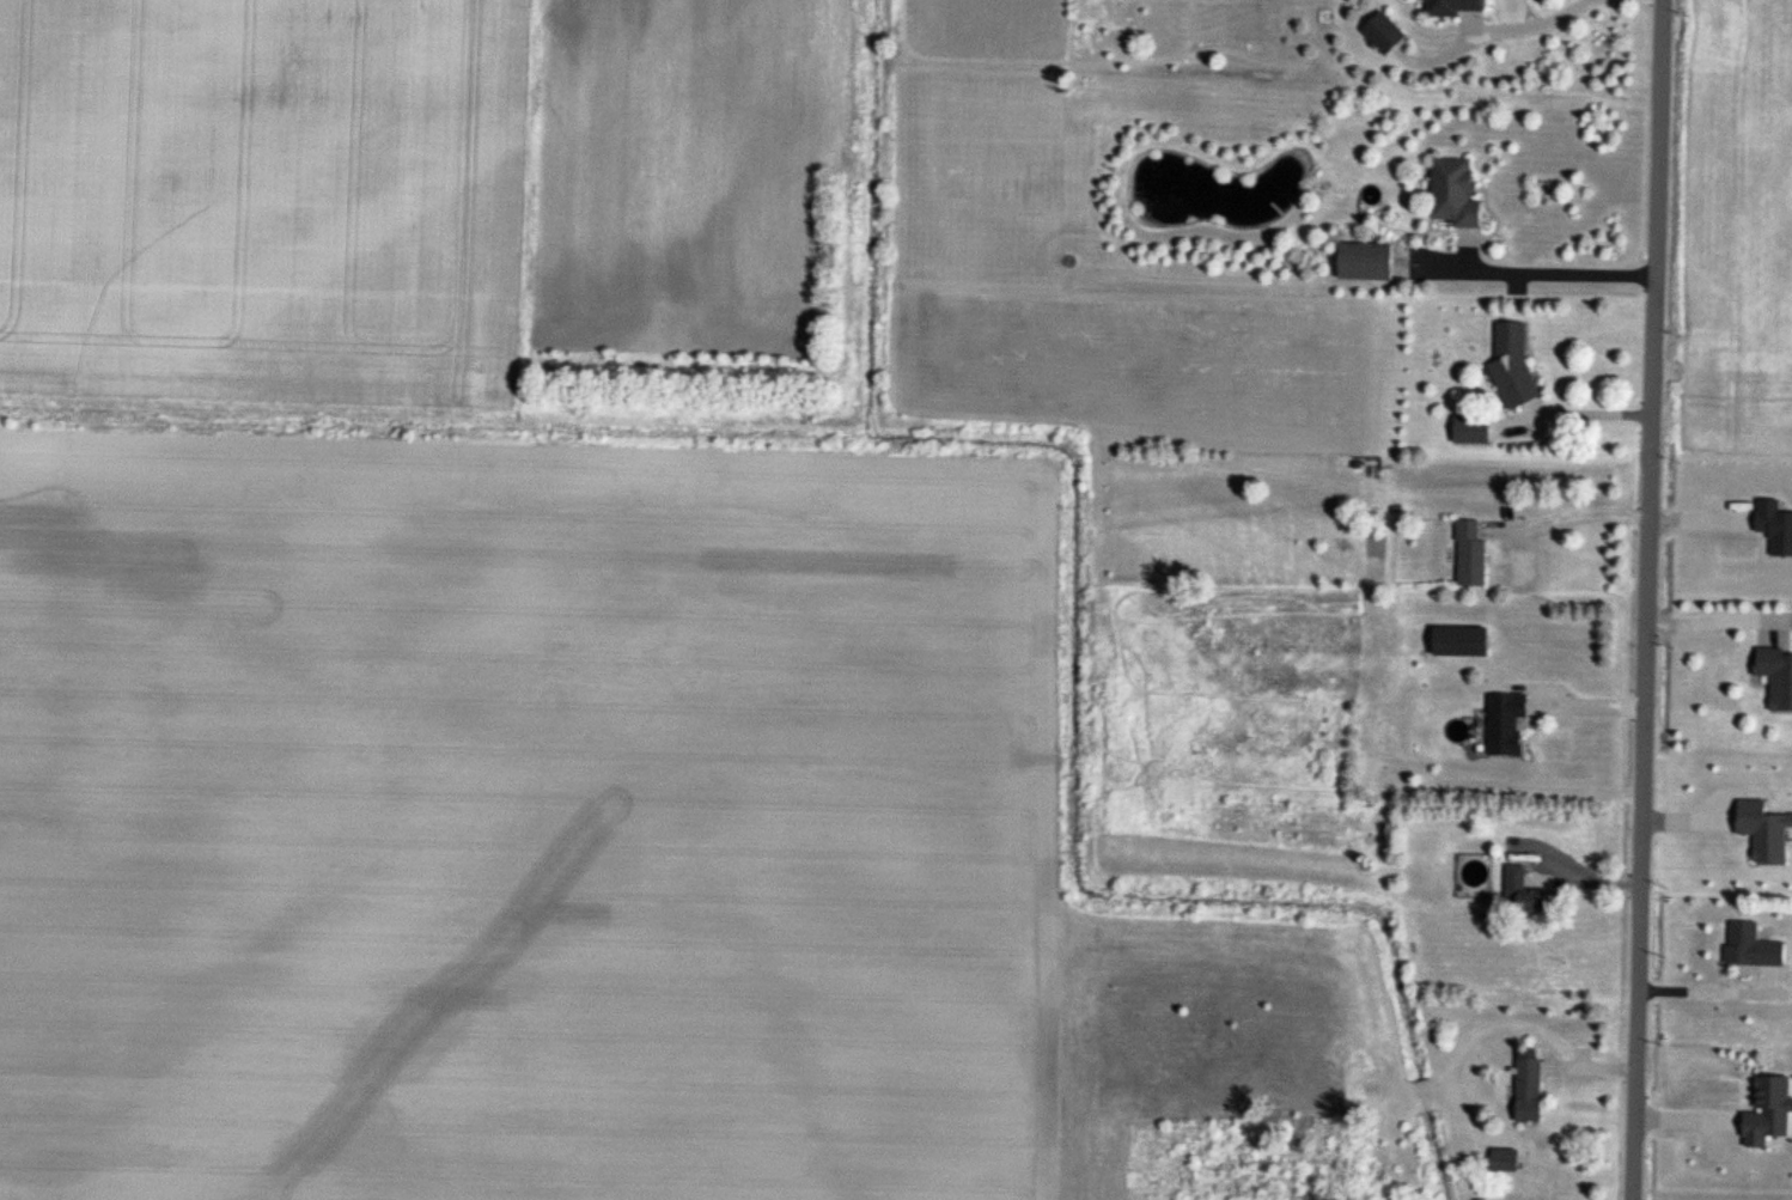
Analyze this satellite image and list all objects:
building: (1456, 7)
road: (1512, 19)
building: (1384, 35)
building: (1455, 195)
road: (1531, 261)
building: (1365, 263)
building: (1513, 366)
road: (1574, 414)
building: (1471, 431)
road: (1567, 517)
building: (1470, 554)
road: (1646, 599)
road: (1720, 620)
building: (1461, 641)
building: (1776, 676)
road: (1577, 706)
building: (1506, 723)
building: (1524, 893)
building: (1751, 948)
road: (1712, 992)
building: (1529, 1091)

